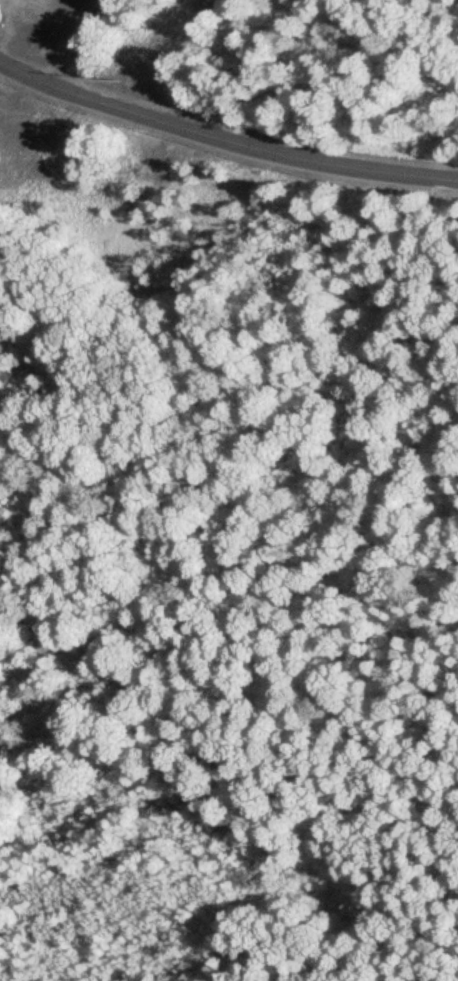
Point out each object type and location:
road: (441, 20)
road: (82, 41)
road: (21, 67)
road: (246, 142)
road: (394, 601)

